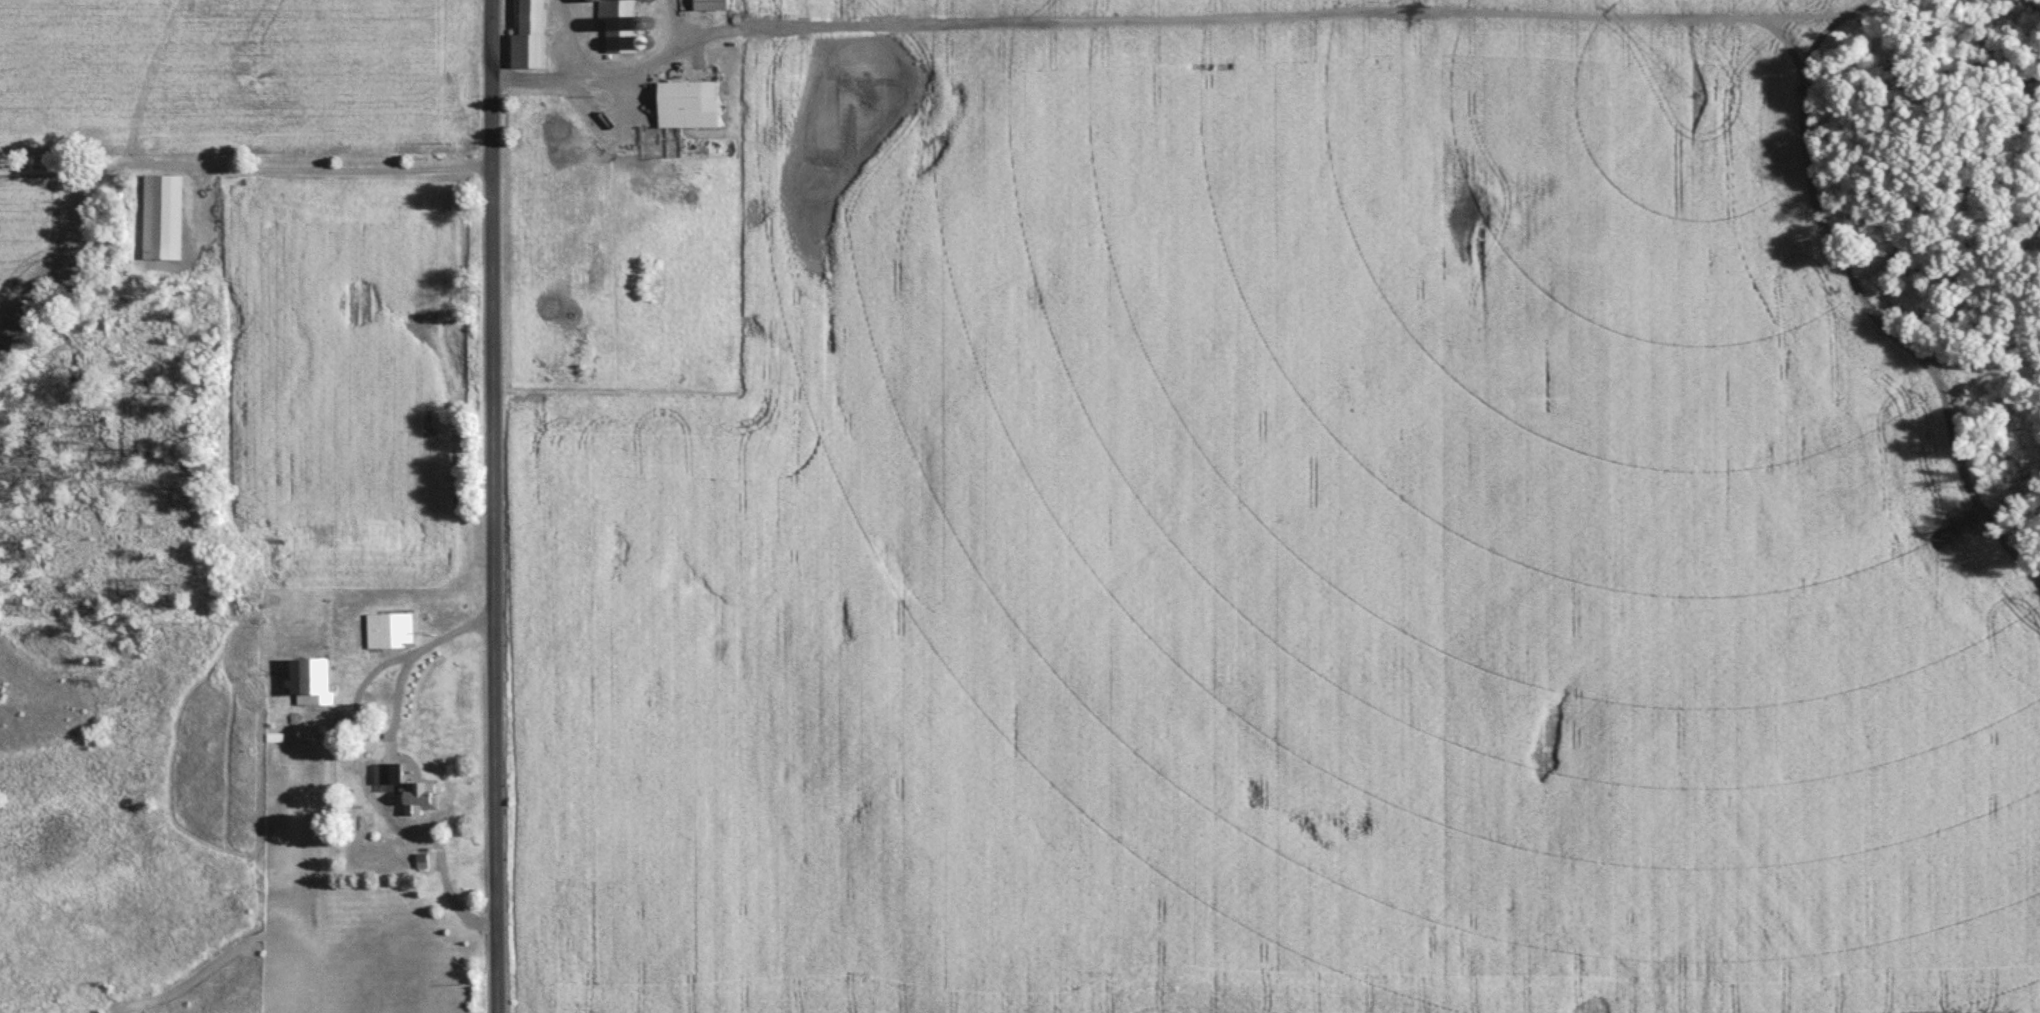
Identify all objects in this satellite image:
building: (715, 5)
road: (1187, 17)
building: (623, 25)
building: (533, 37)
road: (568, 72)
building: (692, 97)
road: (330, 167)
building: (163, 219)
road: (495, 506)
building: (389, 632)
road: (414, 660)
building: (314, 682)
building: (393, 775)
road: (447, 893)

